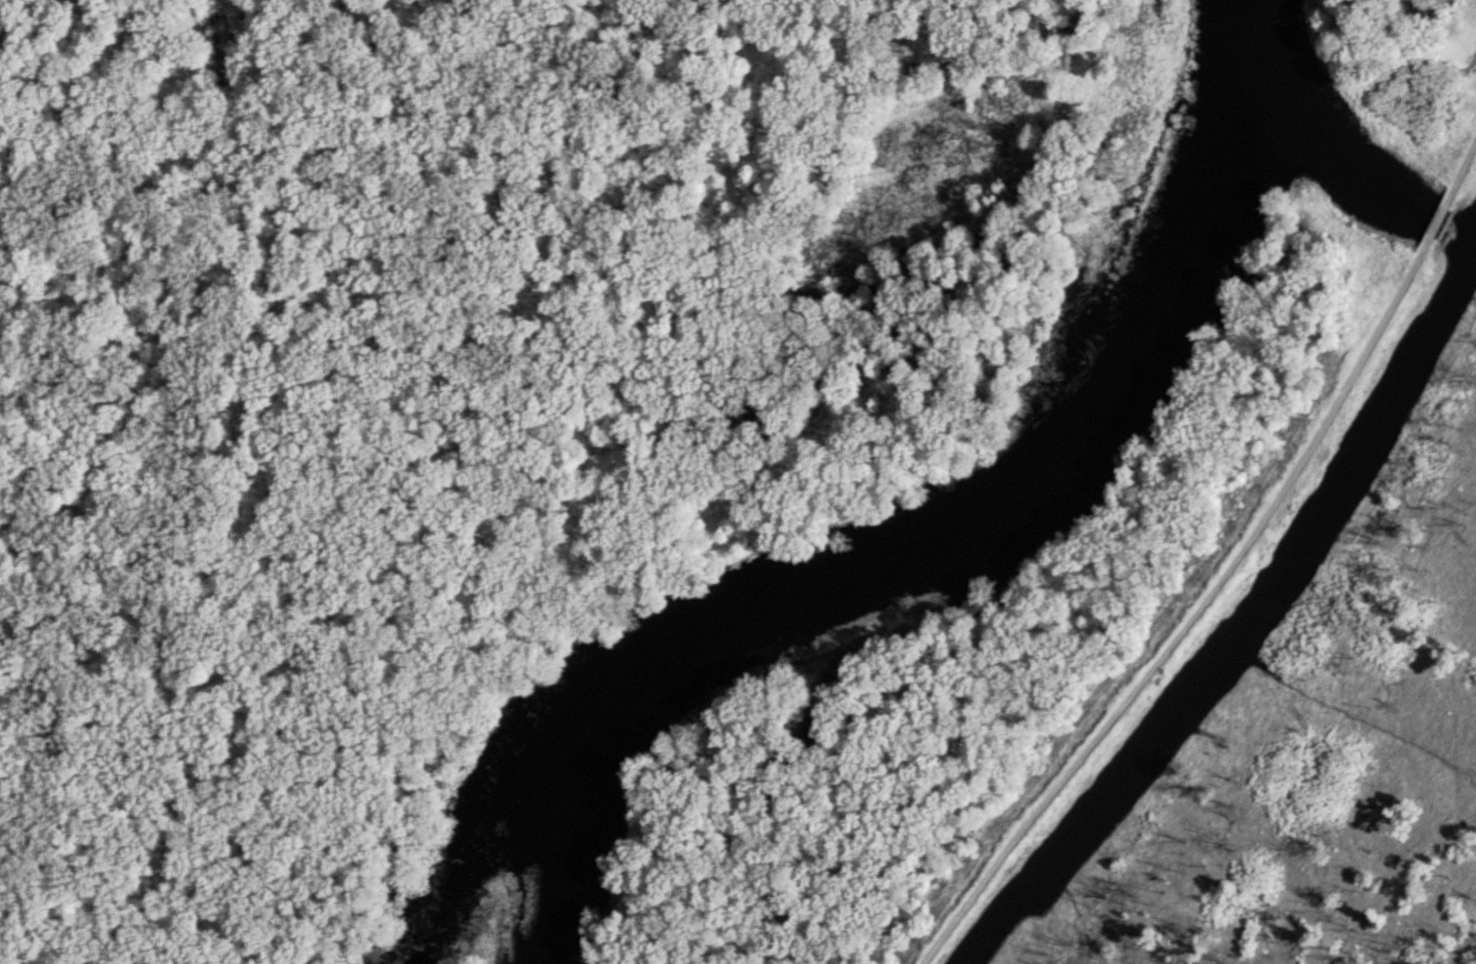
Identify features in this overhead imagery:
river: (942, 552)
road: (1220, 567)

